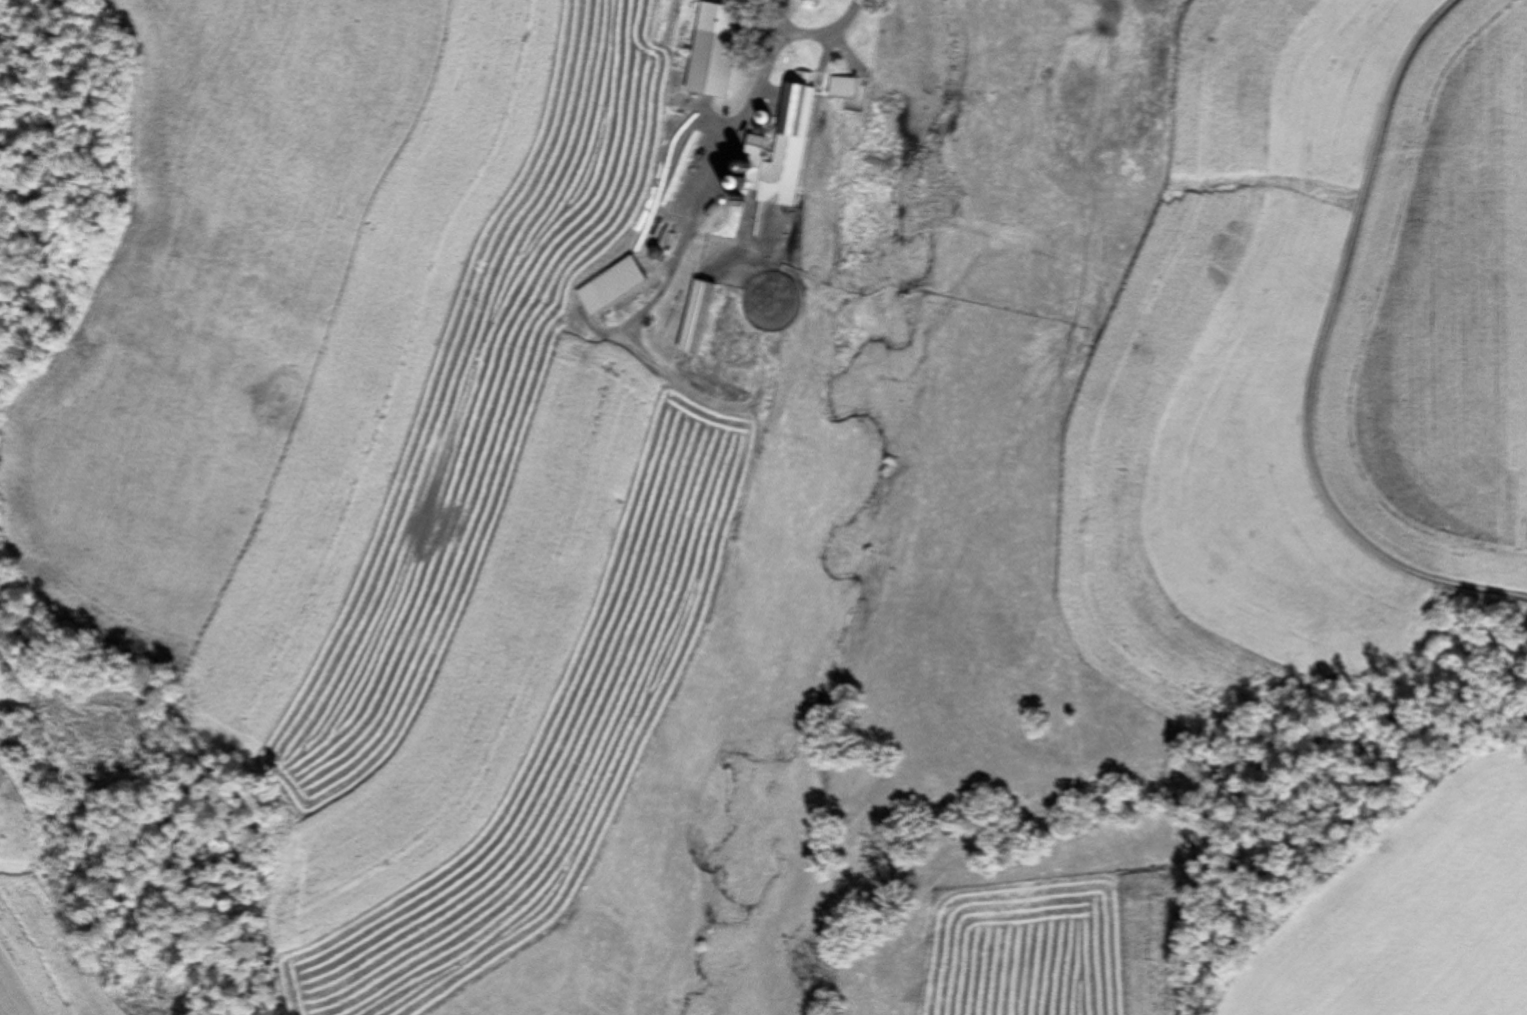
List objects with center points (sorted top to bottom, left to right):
road: (822, 40)
building: (1118, 57)
building: (708, 66)
building: (838, 88)
building: (760, 151)
road: (677, 179)
building: (612, 277)
building: (693, 318)

